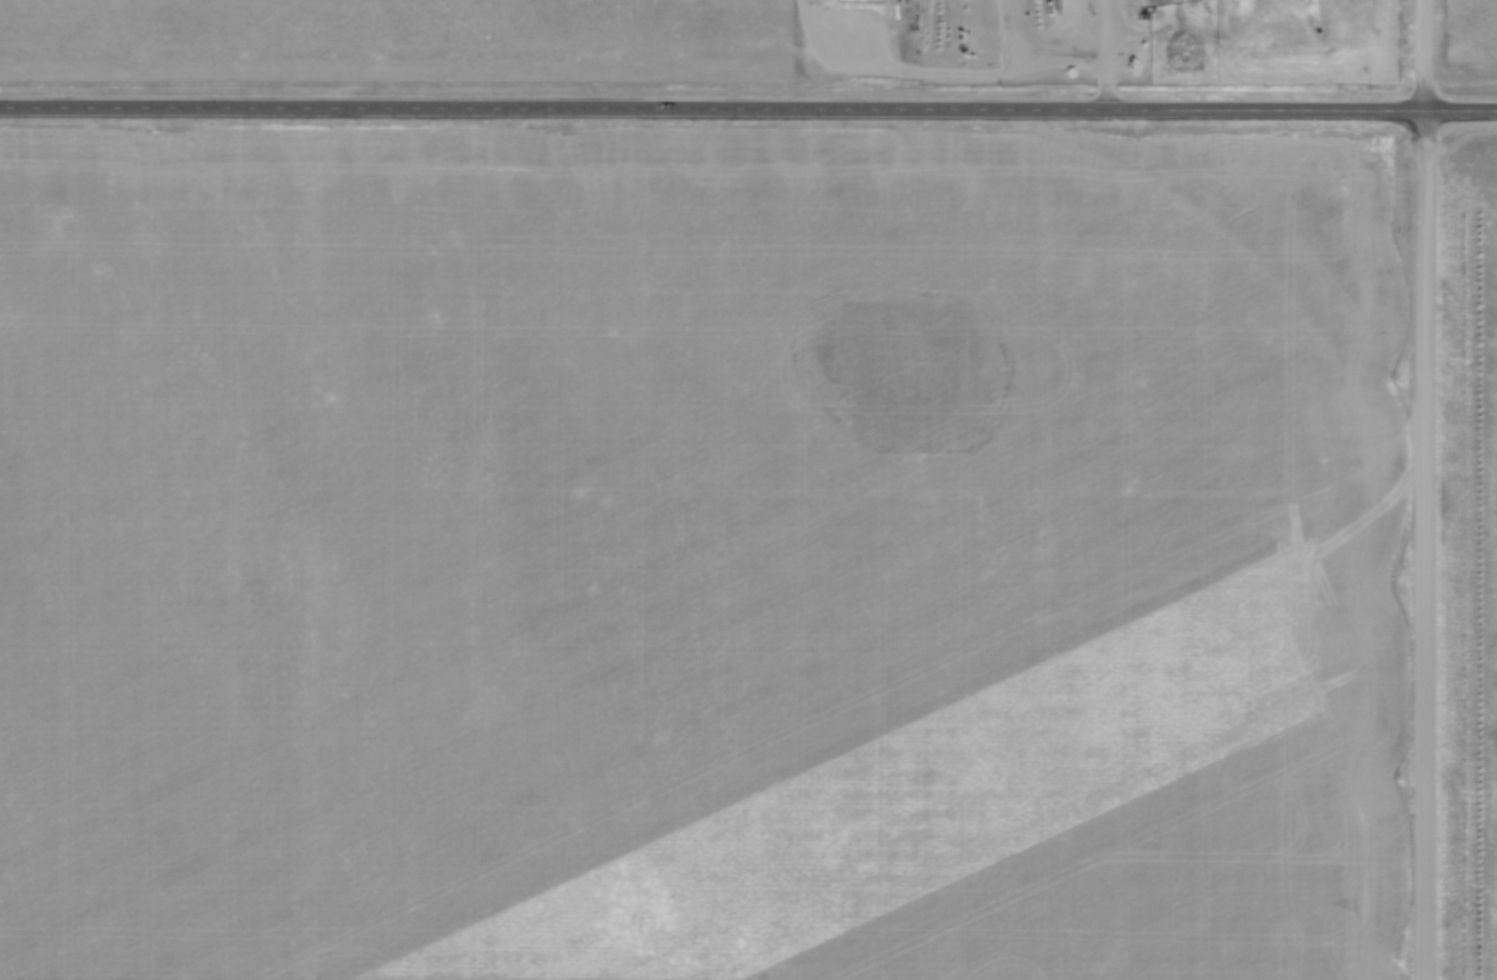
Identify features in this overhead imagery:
building: (1064, 14)
road: (1107, 54)
road: (1424, 54)
road: (748, 107)
road: (1425, 543)
crop: (697, 557)

